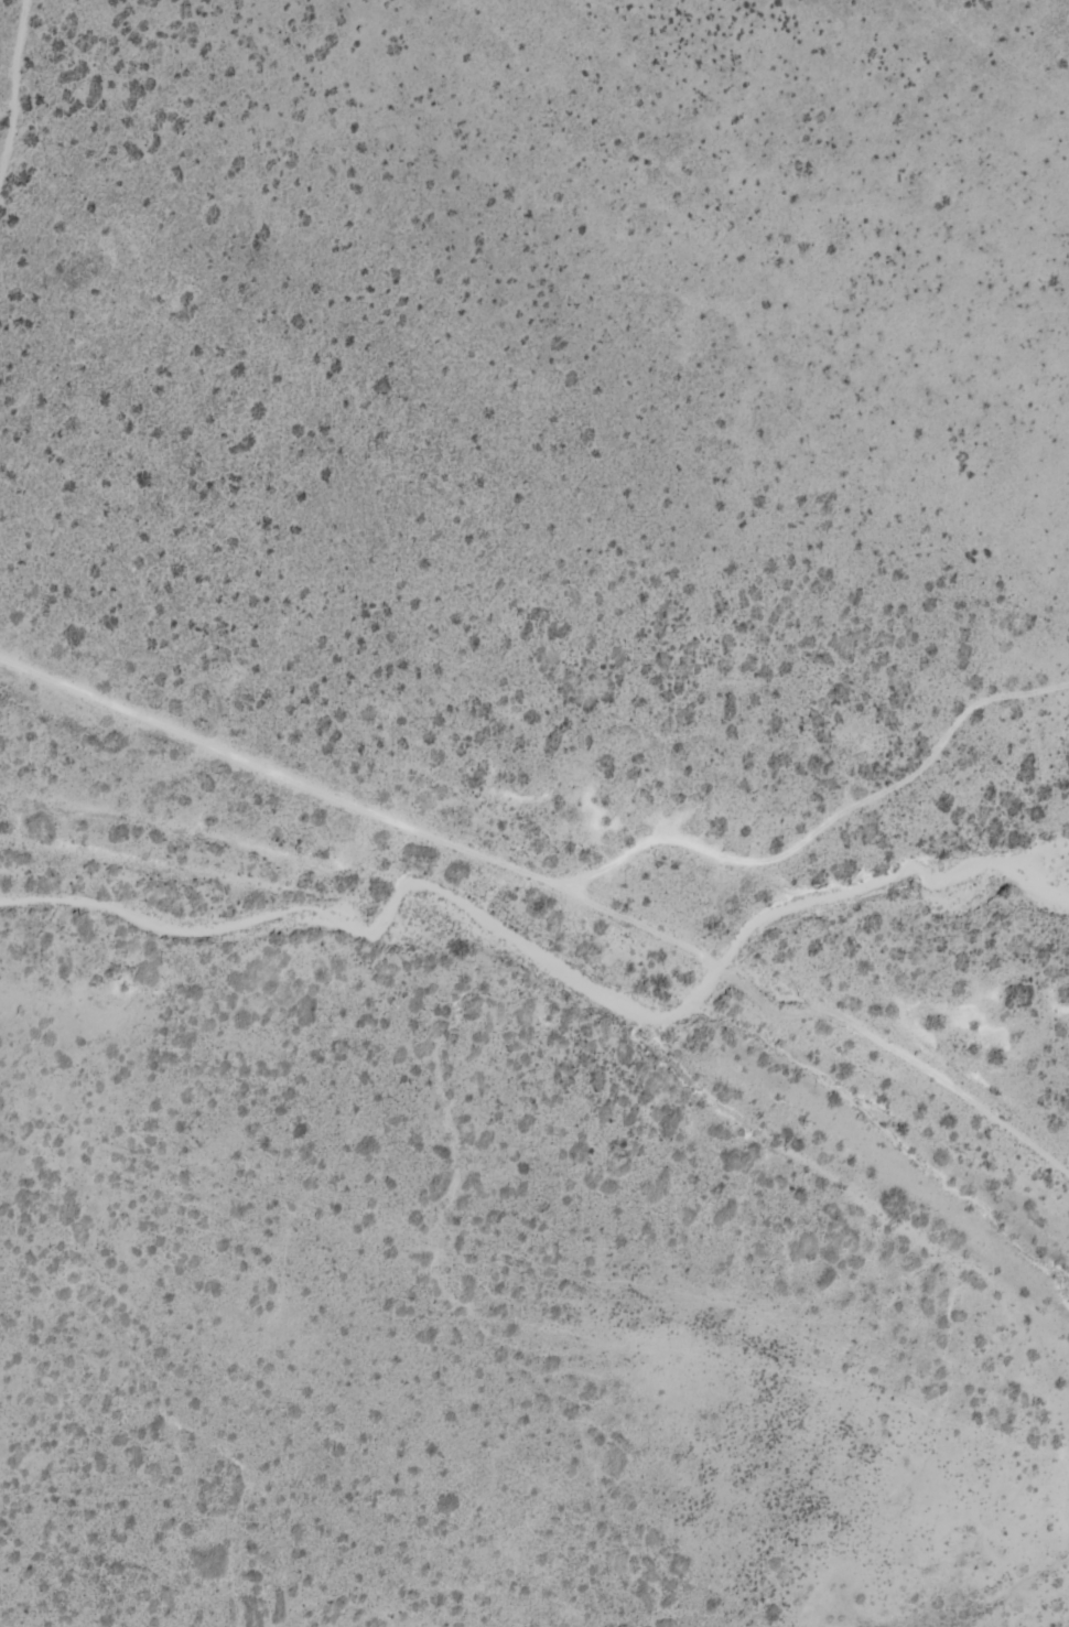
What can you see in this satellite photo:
road: (19, 45)
road: (547, 897)

